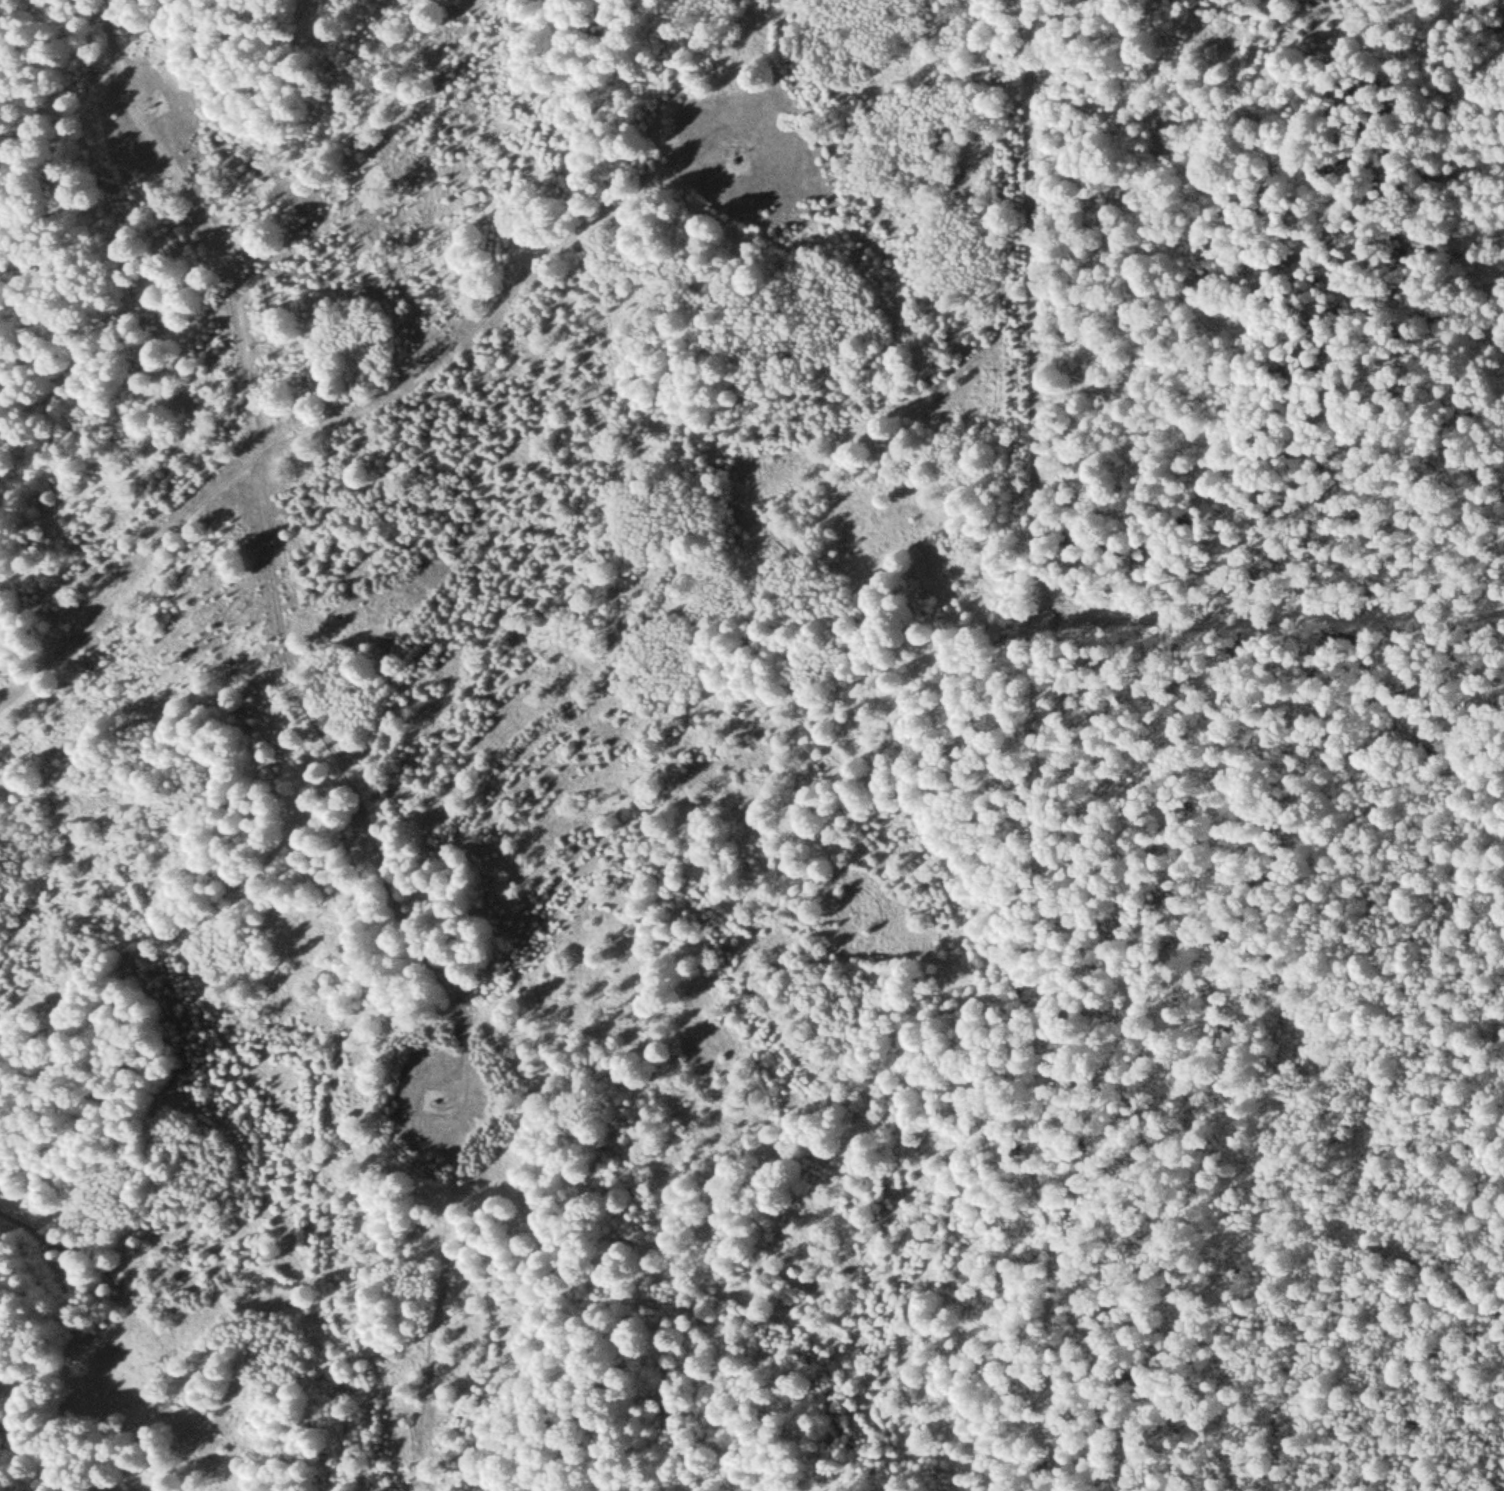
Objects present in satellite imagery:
road: (113, 605)
road: (1048, 745)

